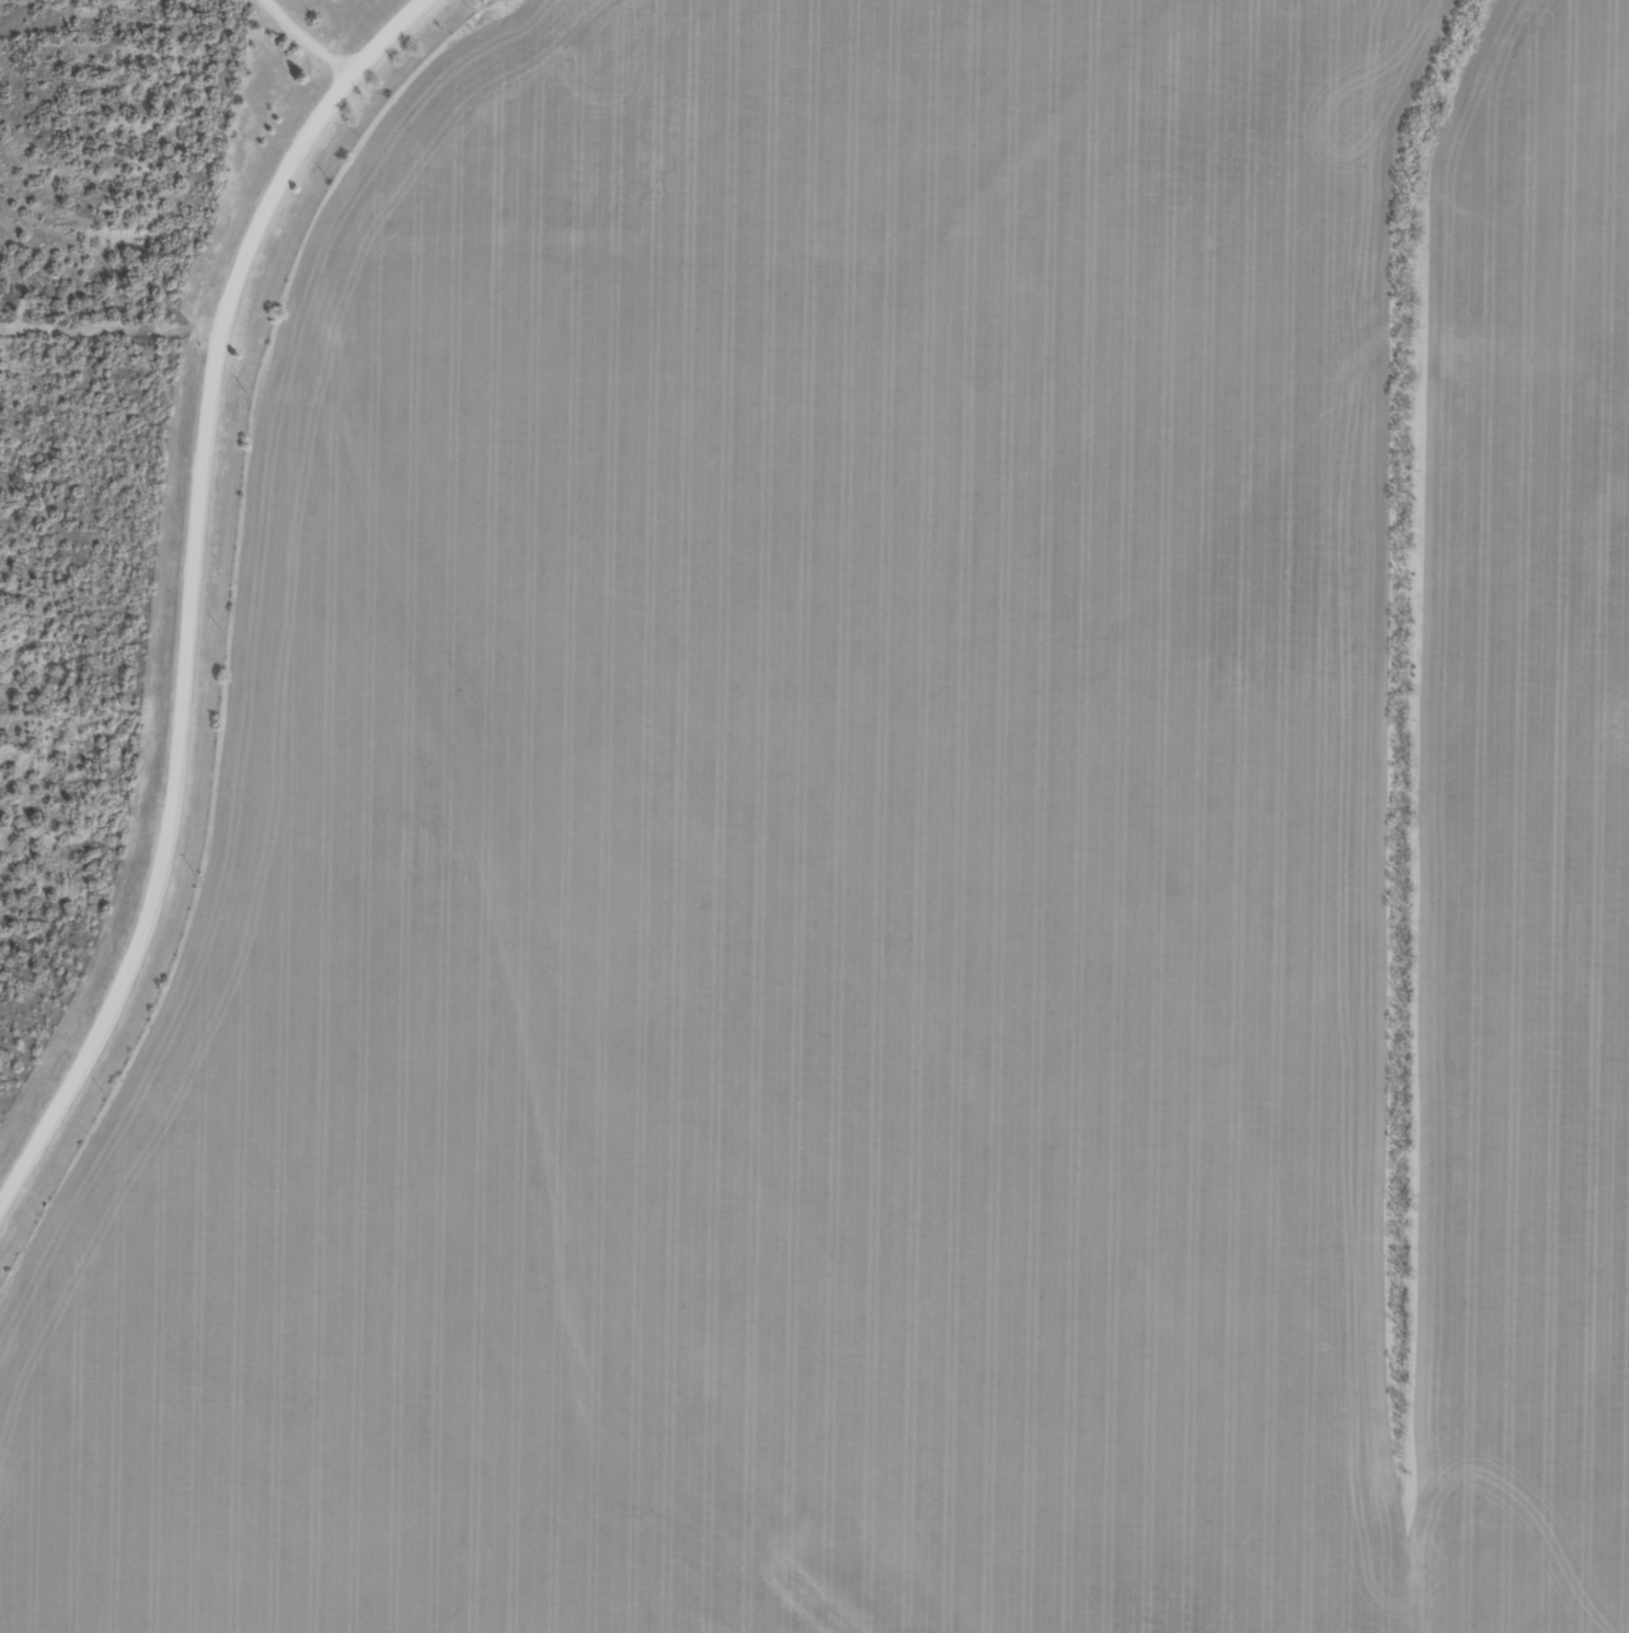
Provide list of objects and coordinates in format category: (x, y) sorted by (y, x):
road: (306, 42)
road: (193, 590)

